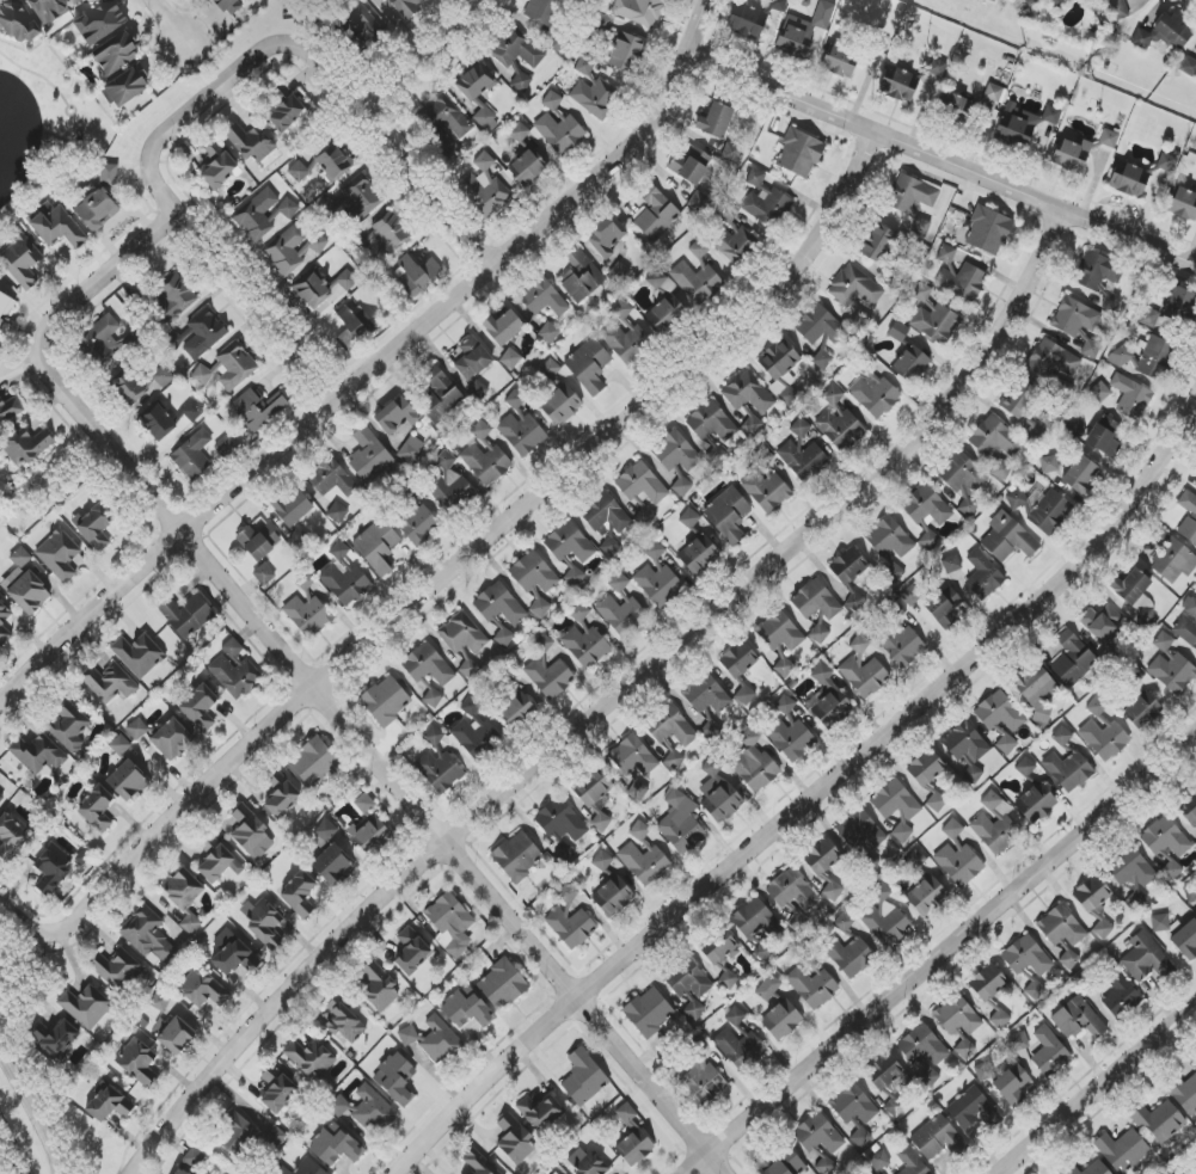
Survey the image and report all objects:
building: (74, 1)
building: (1050, 4)
building: (228, 5)
building: (778, 5)
building: (406, 6)
building: (48, 10)
building: (1117, 10)
building: (541, 11)
building: (639, 11)
road: (167, 20)
building: (747, 20)
building: (18, 21)
building: (99, 21)
building: (355, 23)
building: (605, 23)
building: (804, 30)
building: (1166, 32)
building: (516, 50)
building: (115, 51)
building: (627, 53)
road: (424, 60)
building: (840, 61)
building: (1188, 66)
building: (937, 67)
road: (38, 74)
road: (331, 81)
building: (521, 81)
building: (898, 84)
building: (124, 87)
building: (994, 92)
building: (479, 93)
building: (594, 99)
building: (552, 100)
building: (957, 107)
road: (66, 109)
building: (286, 110)
building: (716, 121)
building: (443, 122)
building: (1023, 124)
building: (559, 131)
building: (519, 133)
building: (1109, 139)
building: (251, 142)
building: (730, 153)
building: (799, 153)
building: (1072, 154)
road: (942, 160)
building: (1166, 161)
building: (333, 162)
building: (691, 165)
building: (219, 166)
building: (527, 168)
building: (299, 172)
building: (109, 174)
building: (1129, 179)
building: (485, 188)
building: (910, 193)
building: (358, 196)
building: (765, 201)
building: (699, 202)
building: (1183, 203)
building: (97, 210)
building: (656, 214)
building: (257, 215)
building: (56, 226)
building: (921, 227)
building: (988, 231)
building: (730, 235)
building: (606, 236)
building: (386, 239)
building: (876, 242)
building: (286, 252)
building: (946, 254)
building: (22, 262)
building: (620, 271)
building: (417, 273)
building: (697, 275)
building: (581, 276)
building: (1099, 277)
building: (961, 282)
road: (238, 284)
building: (854, 288)
building: (321, 289)
building: (921, 291)
building: (173, 297)
building: (542, 297)
building: (1180, 302)
building: (666, 305)
building: (621, 309)
building: (932, 322)
building: (817, 325)
building: (1079, 325)
building: (503, 327)
building: (548, 332)
building: (204, 334)
building: (901, 336)
building: (102, 339)
building: (173, 339)
building: (625, 339)
building: (0, 349)
building: (472, 358)
building: (510, 358)
building: (1147, 358)
building: (822, 359)
building: (1051, 359)
building: (234, 363)
building: (779, 363)
building: (589, 365)
building: (910, 365)
road: (375, 367)
building: (551, 369)
building: (202, 375)
building: (162, 377)
building: (128, 387)
building: (478, 391)
building: (1099, 392)
building: (748, 393)
building: (833, 394)
building: (875, 394)
building: (440, 395)
building: (1131, 397)
building: (515, 399)
building: (1020, 400)
building: (563, 404)
building: (11, 408)
building: (257, 408)
building: (395, 416)
building: (158, 422)
building: (711, 423)
building: (753, 425)
building: (801, 428)
building: (841, 429)
building: (1074, 429)
building: (521, 432)
building: (1104, 436)
building: (996, 445)
building: (27, 447)
building: (412, 450)
building: (675, 451)
building: (194, 454)
building: (369, 455)
building: (485, 456)
building: (802, 459)
building: (1049, 463)
building: (1080, 474)
building: (331, 478)
building: (963, 480)
building: (448, 482)
building: (766, 485)
building: (681, 486)
building: (642, 490)
building: (1017, 498)
building: (293, 506)
building: (1047, 509)
building: (337, 512)
building: (927, 512)
building: (728, 515)
building: (1188, 516)
building: (689, 518)
building: (607, 522)
building: (418, 523)
building: (94, 525)
building: (1007, 537)
building: (259, 541)
building: (569, 543)
building: (378, 546)
building: (889, 546)
building: (59, 554)
building: (698, 555)
building: (20, 557)
building: (1172, 558)
building: (951, 564)
road: (454, 565)
building: (848, 566)
building: (264, 574)
building: (574, 574)
building: (983, 576)
building: (344, 577)
building: (535, 579)
building: (306, 584)
building: (658, 584)
building: (1130, 586)
building: (26, 590)
building: (910, 596)
building: (815, 601)
building: (499, 604)
building: (1190, 606)
building: (945, 608)
building: (622, 609)
building: (579, 611)
building: (186, 615)
building: (308, 615)
building: (2, 620)
building: (1102, 622)
building: (1186, 631)
building: (779, 632)
building: (820, 633)
building: (462, 634)
building: (504, 637)
building: (900, 638)
building: (542, 644)
building: (859, 644)
building: (585, 646)
building: (233, 650)
building: (139, 654)
building: (738, 659)
building: (1073, 659)
building: (428, 665)
building: (784, 666)
building: (1171, 666)
building: (235, 676)
building: (865, 676)
building: (550, 677)
building: (109, 683)
road: (308, 687)
building: (1036, 690)
building: (706, 694)
building: (746, 695)
building: (433, 697)
road: (606, 700)
building: (827, 700)
building: (386, 701)
building: (785, 705)
building: (1096, 706)
building: (200, 707)
building: (517, 709)
building: (999, 712)
building: (1143, 713)
building: (69, 726)
building: (670, 726)
building: (137, 729)
building: (474, 729)
building: (1062, 736)
building: (791, 738)
building: (171, 739)
building: (434, 739)
building: (1104, 739)
building: (119, 744)
building: (1006, 744)
building: (968, 748)
building: (38, 754)
building: (632, 756)
building: (675, 760)
building: (314, 763)
building: (754, 763)
building: (1025, 767)
building: (1068, 770)
building: (440, 772)
building: (928, 776)
road: (811, 786)
building: (637, 789)
building: (719, 792)
building: (281, 794)
building: (596, 797)
building: (1, 800)
building: (366, 804)
building: (1038, 805)
building: (896, 806)
building: (97, 809)
building: (1189, 810)
building: (563, 822)
building: (681, 823)
building: (995, 825)
building: (325, 830)
building: (639, 830)
building: (251, 832)
building: (861, 834)
building: (373, 836)
building: (11, 837)
building: (1167, 844)
building: (517, 856)
building: (822, 856)
building: (958, 858)
building: (217, 860)
building: (602, 860)
building: (643, 863)
building: (333, 865)
building: (53, 867)
building: (1131, 868)
building: (924, 889)
building: (792, 891)
building: (832, 891)
building: (1191, 892)
building: (299, 893)
building: (1092, 893)
building: (566, 895)
building: (185, 897)
building: (612, 898)
building: (1137, 899)
building: (753, 918)
building: (884, 918)
building: (798, 921)
building: (844, 922)
building: (1160, 922)
building: (264, 923)
building: (450, 923)
building: (571, 927)
building: (1102, 927)
building: (1063, 933)
building: (148, 935)
building: (1186, 940)
road: (938, 949)
building: (227, 952)
building: (412, 952)
building: (851, 957)
building: (1026, 957)
building: (1145, 959)
building: (724, 960)
building: (251, 961)
building: (116, 969)
building: (988, 983)
building: (502, 984)
building: (379, 986)
building: (688, 986)
building: (812, 986)
building: (203, 989)
building: (772, 992)
building: (1121, 996)
building: (160, 1001)
building: (85, 1006)
building: (467, 1008)
building: (649, 1012)
building: (957, 1015)
building: (736, 1016)
building: (1000, 1019)
building: (1078, 1019)
building: (344, 1021)
building: (783, 1021)
building: (176, 1035)
building: (56, 1038)
building: (433, 1039)
building: (1018, 1041)
building: (922, 1045)
building: (741, 1046)
building: (965, 1049)
building: (1049, 1051)
building: (312, 1058)
building: (139, 1063)
building: (983, 1071)
building: (928, 1077)
building: (395, 1078)
building: (583, 1078)
building: (701, 1080)
building: (889, 1081)
building: (1011, 1081)
road: (1099, 1088)
building: (277, 1089)
building: (1185, 1094)
building: (1014, 1099)
road: (39, 1102)
building: (109, 1104)
building: (853, 1105)
building: (366, 1110)
building: (973, 1110)
building: (540, 1112)
building: (627, 1117)
building: (1159, 1121)
building: (235, 1130)
building: (818, 1135)
building: (275, 1137)
building: (860, 1137)
building: (938, 1138)
building: (515, 1139)
road: (16, 1144)
building: (335, 1147)
building: (636, 1147)
building: (1122, 1150)
building: (879, 1160)
building: (587, 1162)
building: (912, 1162)
building: (479, 1163)
building: (780, 1164)
building: (1097, 1167)
building: (309, 1168)
building: (280, 1169)
road: (1192, 1170)
building: (180, 1172)
building: (556, 1173)

